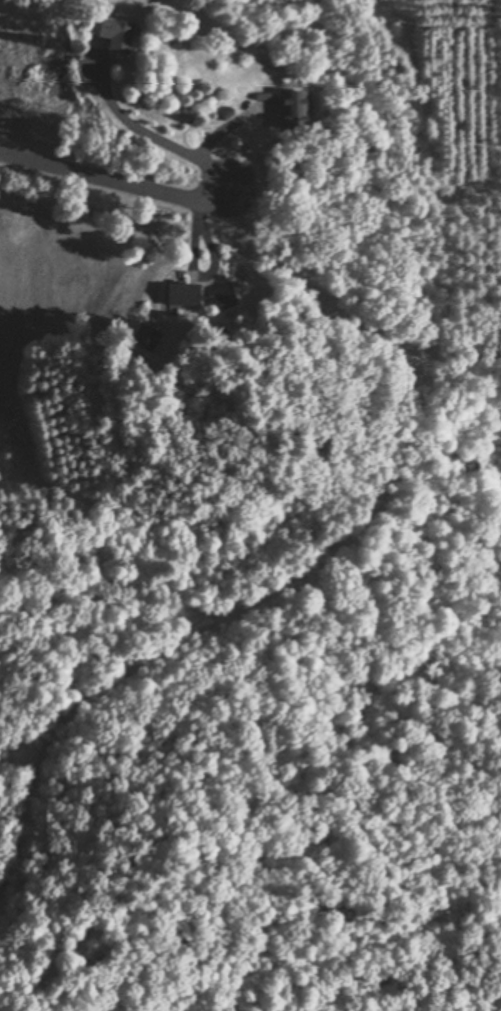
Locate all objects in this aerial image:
building: (109, 32)
building: (284, 109)
road: (147, 130)
road: (112, 177)
building: (179, 293)

